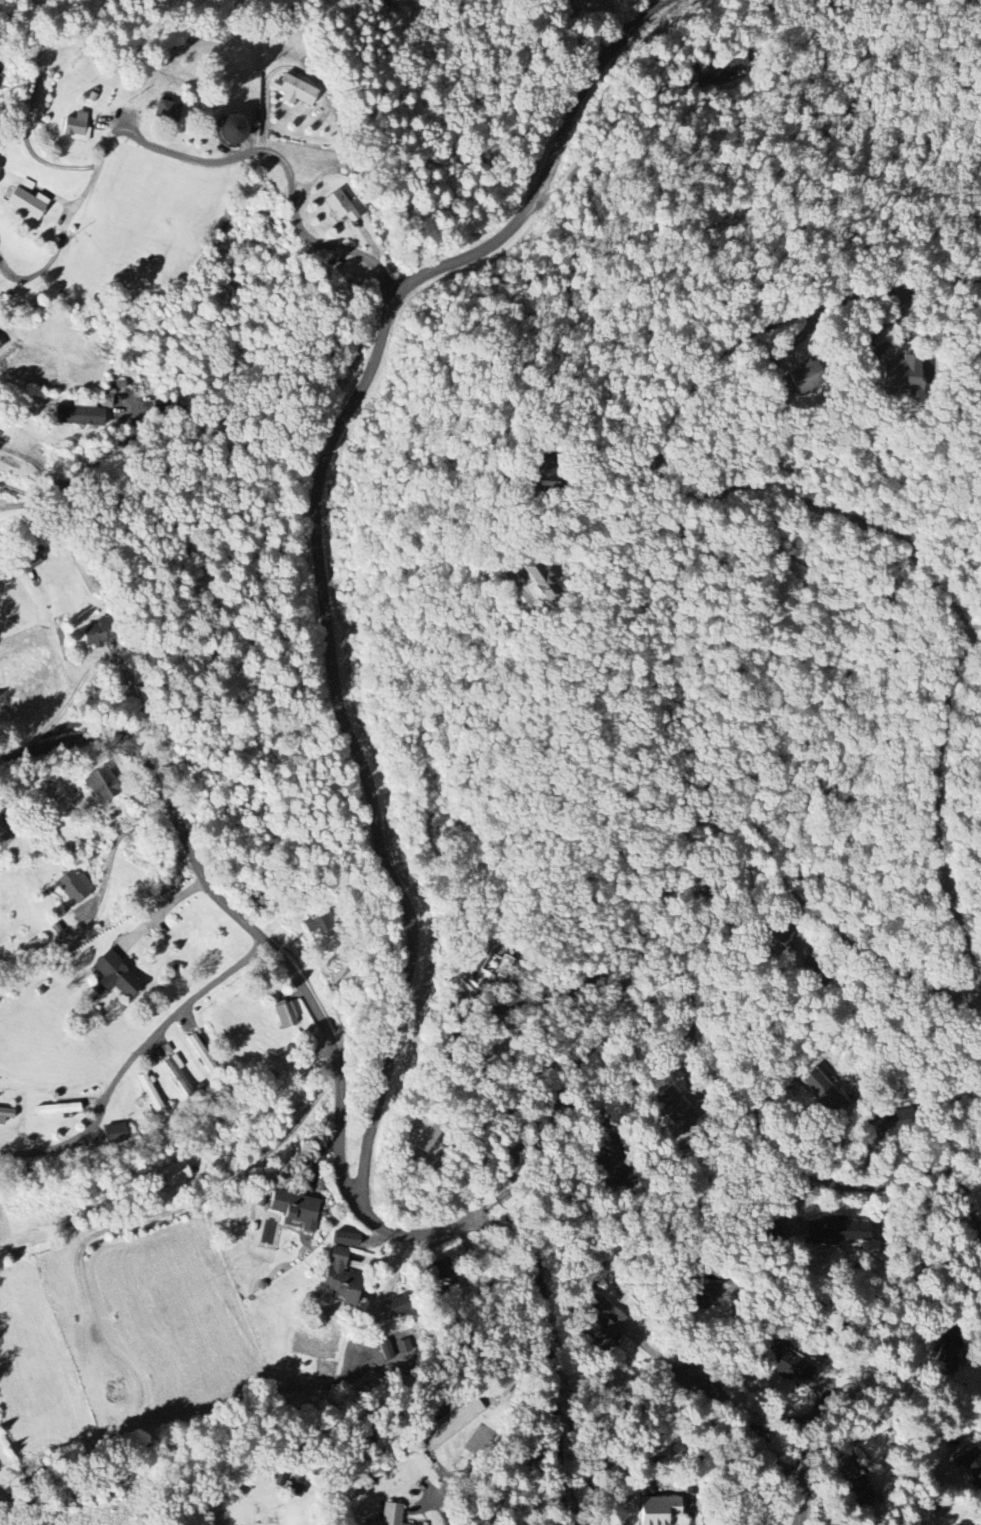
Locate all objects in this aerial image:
building: (296, 91)
building: (168, 111)
road: (25, 117)
building: (76, 127)
road: (605, 128)
building: (232, 129)
road: (273, 156)
building: (27, 203)
building: (339, 207)
building: (0, 346)
building: (805, 377)
building: (901, 377)
building: (79, 416)
road: (112, 452)
road: (607, 460)
road: (42, 468)
road: (25, 489)
road: (315, 548)
building: (539, 582)
road: (117, 613)
building: (99, 633)
road: (83, 678)
building: (101, 783)
road: (933, 840)
building: (75, 886)
building: (255, 898)
road: (160, 911)
building: (317, 924)
building: (114, 976)
building: (285, 1016)
road: (131, 1058)
building: (178, 1074)
building: (823, 1091)
building: (149, 1094)
building: (669, 1103)
road: (339, 1107)
building: (57, 1109)
building: (6, 1114)
road: (474, 1126)
building: (115, 1134)
building: (423, 1139)
road: (768, 1157)
building: (176, 1174)
building: (296, 1208)
road: (980, 1228)
building: (837, 1229)
building: (346, 1239)
building: (341, 1278)
building: (701, 1294)
building: (398, 1307)
building: (601, 1325)
building: (404, 1347)
building: (389, 1351)
building: (794, 1368)
road: (769, 1435)
building: (848, 1478)
road: (445, 1510)
building: (658, 1510)
building: (389, 1515)

